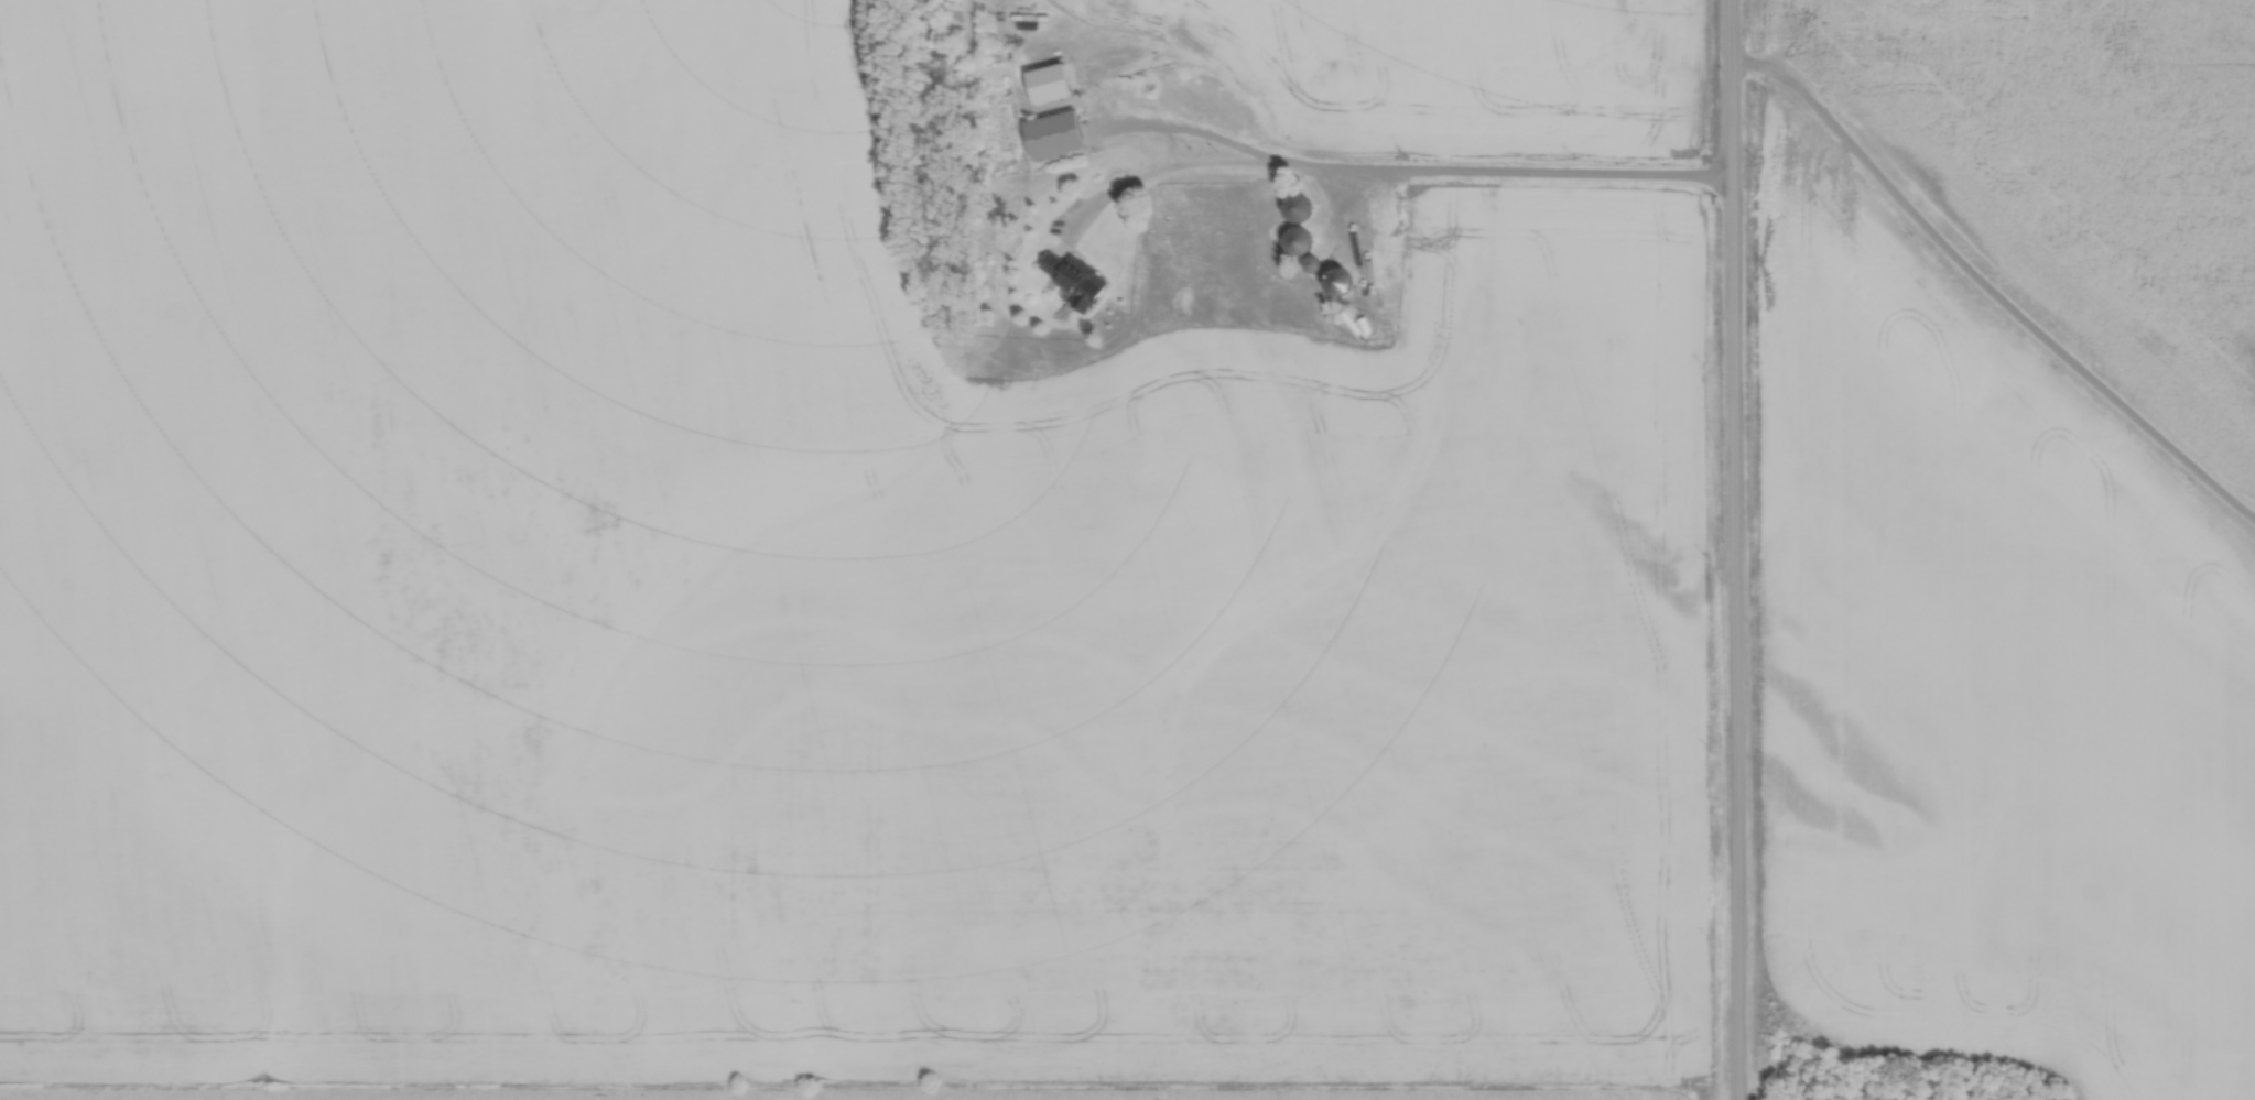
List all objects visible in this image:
building: (1056, 132)
road: (1375, 171)
building: (1301, 205)
building: (1300, 238)
building: (1313, 260)
building: (1077, 276)
building: (1342, 279)
road: (1987, 295)
road: (1730, 549)

